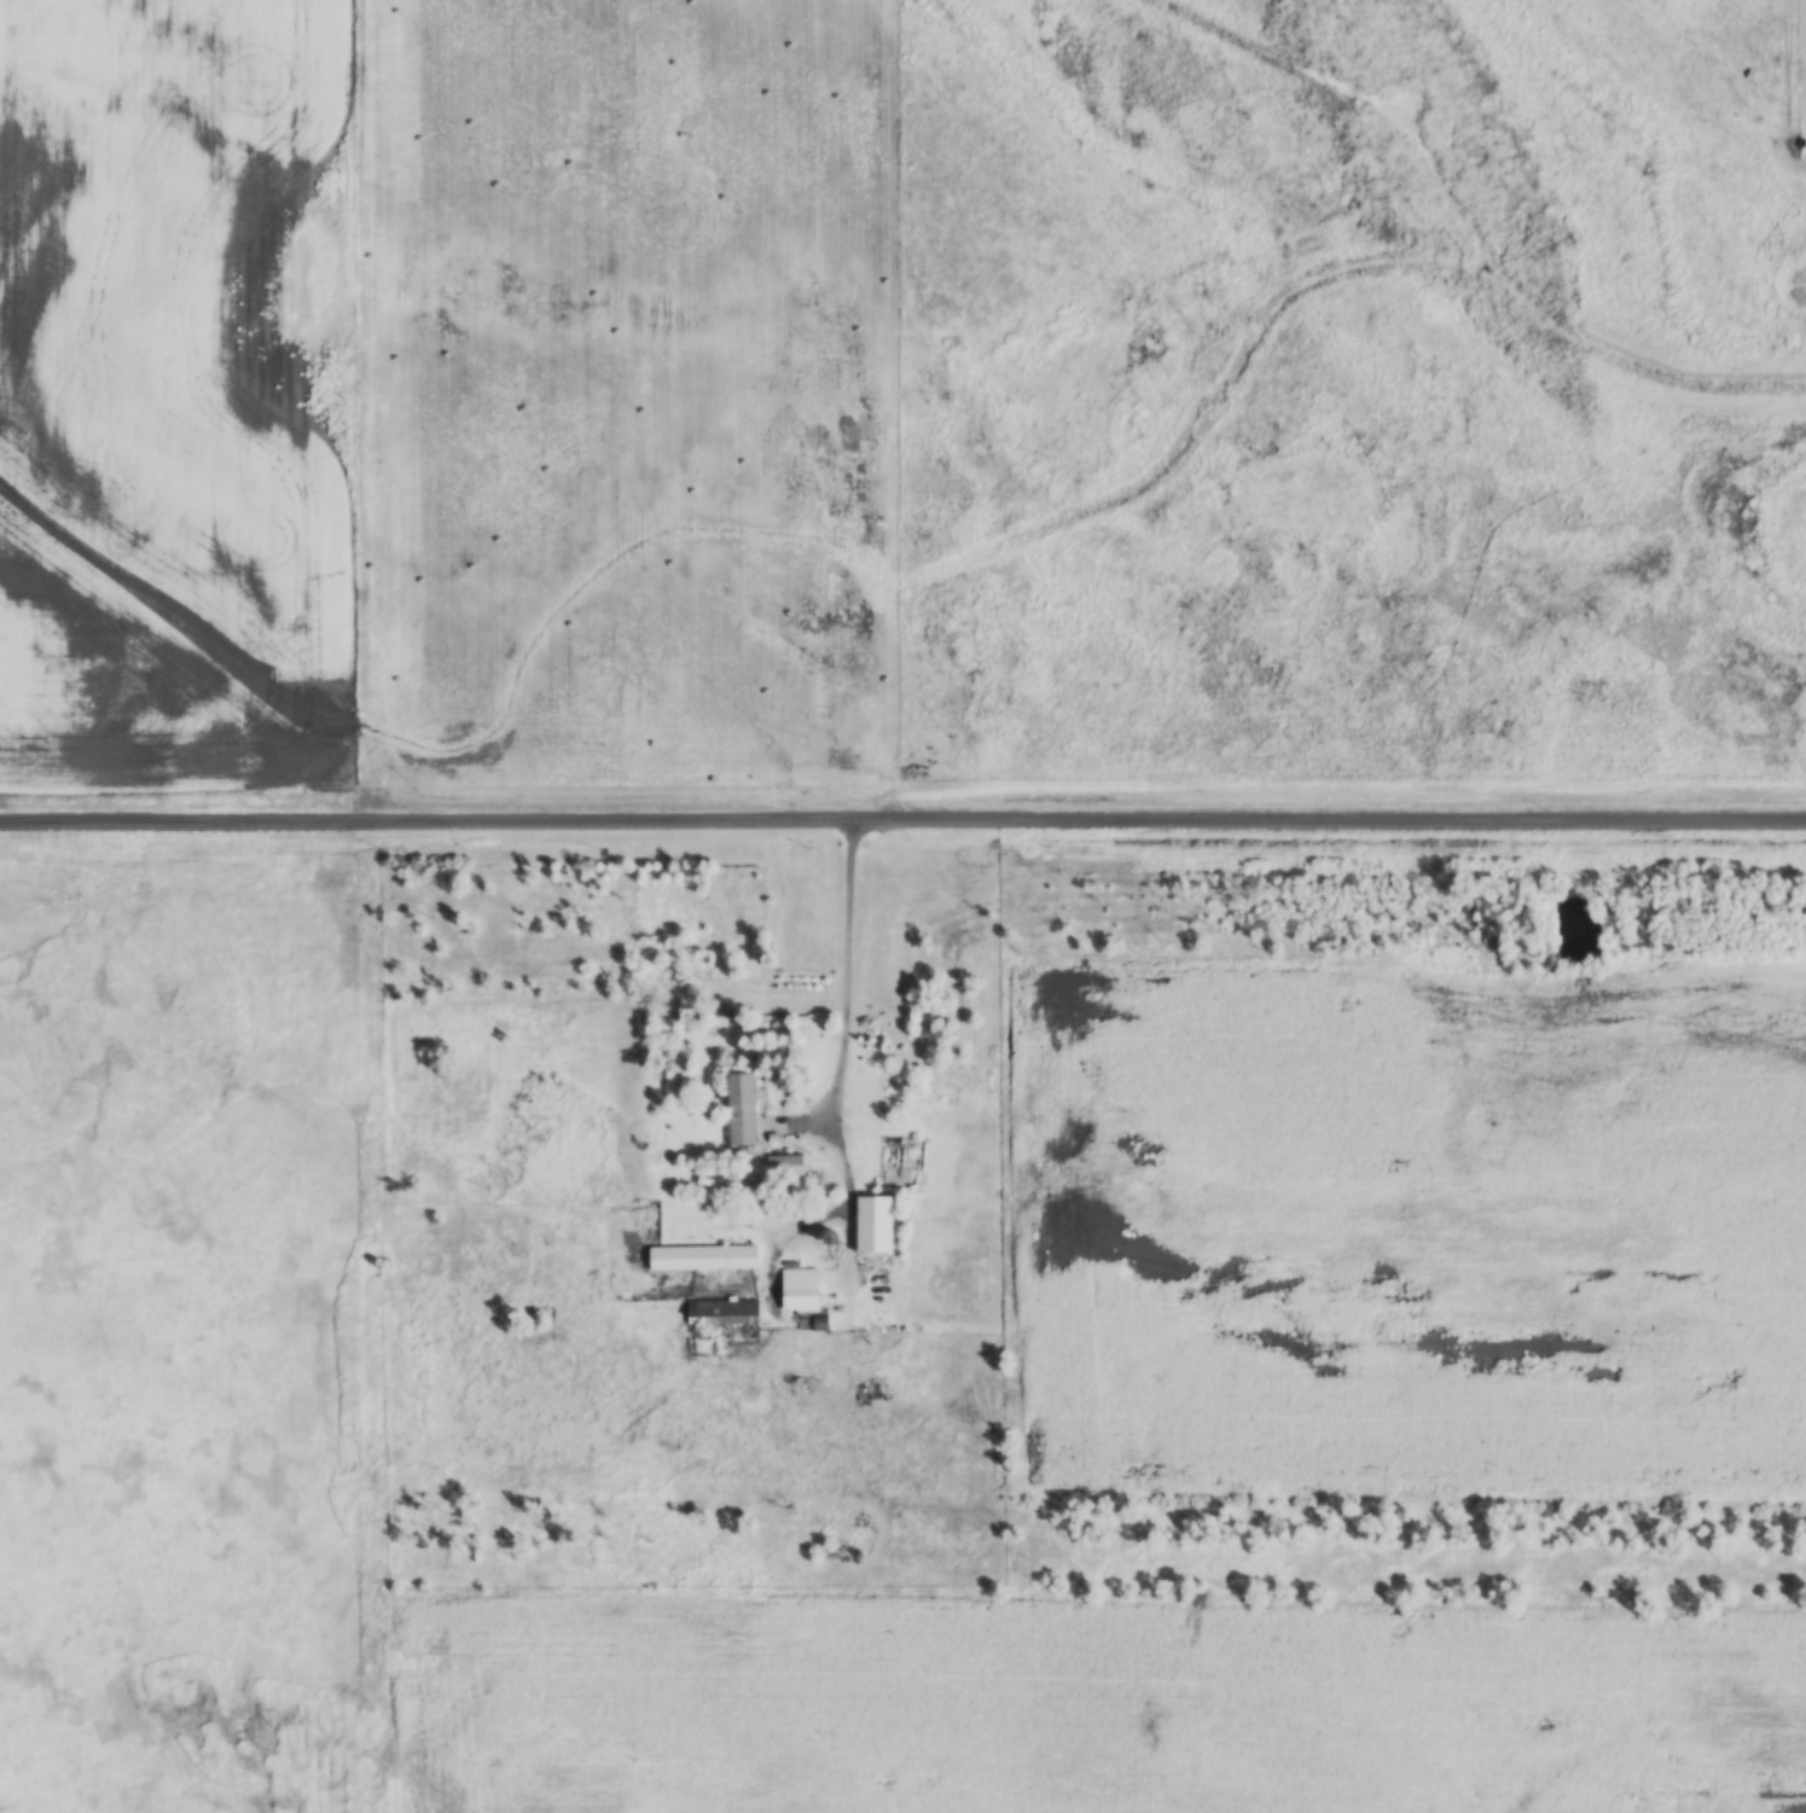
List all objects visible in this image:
road: (361, 412)
road: (902, 823)
road: (811, 1085)
building: (745, 1108)
building: (788, 1164)
building: (876, 1222)
building: (702, 1256)
building: (802, 1288)
building: (722, 1311)

